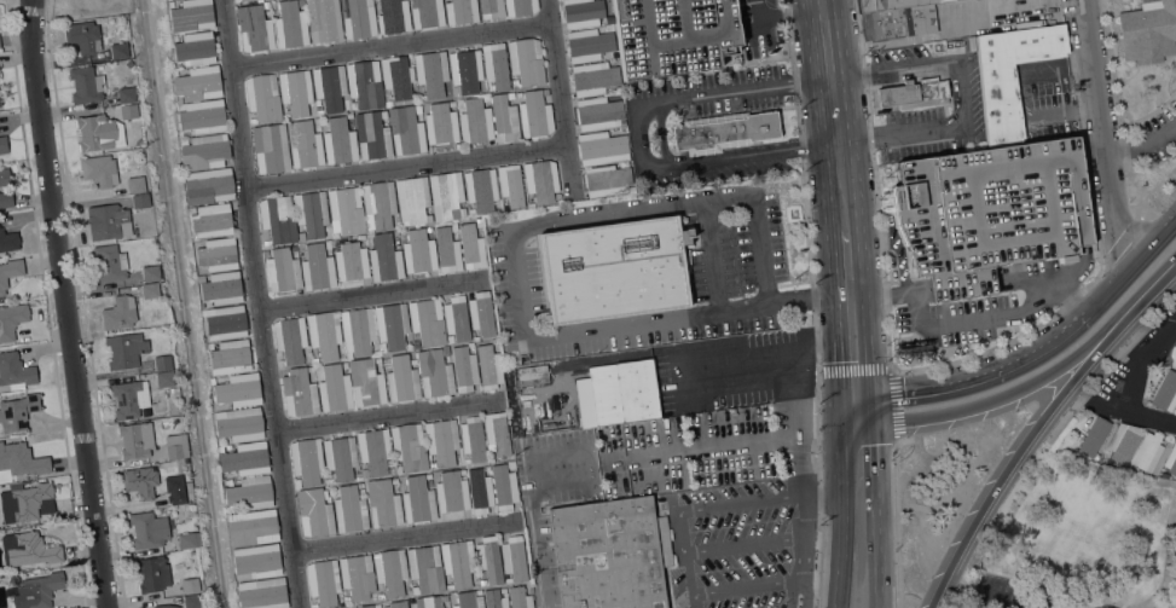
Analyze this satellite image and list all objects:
building: (234, 0)
building: (243, 0)
building: (890, 4)
building: (520, 6)
building: (491, 8)
building: (460, 11)
road: (781, 12)
building: (427, 13)
building: (583, 13)
building: (191, 15)
building: (393, 16)
building: (358, 17)
building: (324, 19)
building: (897, 22)
building: (290, 24)
building: (254, 29)
building: (1148, 29)
building: (672, 35)
parking lot: (672, 35)
building: (82, 37)
building: (587, 45)
road: (394, 46)
building: (195, 48)
building: (118, 50)
building: (526, 60)
building: (496, 64)
building: (465, 69)
building: (431, 73)
building: (1010, 75)
building: (396, 76)
building: (592, 77)
building: (341, 79)
building: (197, 83)
building: (364, 83)
building: (86, 85)
building: (326, 87)
building: (283, 88)
building: (299, 91)
building: (914, 93)
road: (961, 93)
building: (126, 94)
building: (262, 97)
building: (0, 100)
road: (564, 100)
building: (0, 104)
building: (128, 111)
building: (598, 112)
building: (534, 114)
road: (832, 114)
building: (202, 116)
building: (504, 118)
building: (475, 121)
building: (440, 123)
building: (405, 129)
building: (724, 131)
building: (98, 132)
building: (371, 134)
road: (638, 137)
road: (1102, 137)
building: (338, 140)
road: (1142, 143)
building: (2, 144)
building: (291, 144)
building: (306, 144)
building: (270, 147)
building: (601, 147)
building: (204, 151)
road: (407, 167)
building: (99, 169)
building: (4, 175)
building: (606, 179)
building: (540, 180)
building: (135, 184)
building: (208, 185)
building: (510, 185)
building: (481, 189)
building: (447, 193)
building: (5, 198)
building: (140, 199)
building: (412, 199)
building: (378, 204)
building: (344, 210)
building: (311, 212)
road: (630, 212)
building: (990, 212)
building: (210, 219)
building: (278, 219)
building: (109, 221)
building: (8, 241)
building: (216, 245)
building: (470, 247)
road: (1153, 247)
road: (760, 248)
building: (447, 249)
building: (418, 251)
road: (711, 255)
building: (384, 259)
building: (218, 260)
building: (351, 260)
road: (852, 261)
building: (108, 262)
road: (902, 262)
building: (317, 267)
building: (614, 268)
building: (282, 270)
building: (10, 272)
building: (150, 273)
building: (202, 277)
road: (517, 283)
road: (1154, 283)
building: (221, 288)
building: (149, 290)
road: (847, 293)
road: (373, 299)
road: (68, 303)
road: (256, 305)
building: (118, 313)
building: (481, 313)
road: (679, 314)
road: (834, 314)
building: (456, 318)
building: (11, 319)
road: (973, 319)
building: (427, 322)
building: (225, 323)
building: (392, 324)
road: (1073, 329)
building: (357, 331)
building: (323, 332)
building: (290, 338)
road: (1004, 341)
road: (865, 346)
building: (124, 349)
building: (230, 357)
building: (1172, 357)
road: (1145, 360)
building: (164, 361)
road: (764, 364)
traffic signals: (838, 365)
building: (488, 366)
building: (464, 367)
road: (888, 369)
road: (817, 370)
building: (15, 371)
building: (434, 372)
building: (531, 375)
building: (164, 378)
building: (401, 380)
building: (366, 382)
building: (334, 388)
building: (238, 389)
road: (939, 390)
building: (1165, 392)
building: (299, 393)
building: (616, 393)
road: (998, 395)
traffic signals: (899, 396)
building: (129, 398)
road: (855, 400)
building: (1175, 407)
building: (17, 411)
road: (870, 411)
road: (839, 412)
road: (392, 415)
road: (1146, 416)
building: (238, 423)
building: (497, 432)
building: (1093, 436)
building: (471, 438)
road: (1047, 439)
building: (135, 440)
building: (441, 441)
building: (1120, 441)
traffic signals: (873, 445)
building: (175, 446)
building: (409, 446)
road: (1019, 448)
road: (587, 450)
road: (714, 450)
building: (1147, 451)
building: (375, 452)
building: (340, 457)
building: (244, 458)
building: (21, 459)
building: (306, 459)
building: (1171, 461)
building: (510, 463)
building: (357, 475)
building: (140, 481)
building: (296, 482)
road: (804, 483)
building: (503, 486)
building: (176, 490)
building: (479, 490)
building: (249, 492)
building: (451, 492)
road: (822, 498)
building: (417, 500)
building: (25, 502)
road: (745, 502)
building: (382, 503)
building: (349, 509)
building: (314, 513)
road: (875, 514)
road: (840, 516)
road: (894, 522)
building: (251, 526)
building: (147, 529)
road: (411, 537)
building: (189, 539)
park: (1082, 540)
road: (533, 545)
road: (746, 546)
building: (29, 549)
building: (610, 554)
building: (514, 557)
building: (488, 558)
building: (256, 560)
road: (689, 560)
building: (458, 561)
building: (425, 568)
building: (390, 571)
building: (152, 573)
building: (357, 575)
building: (323, 581)
road: (957, 581)
building: (190, 585)
building: (37, 590)
road: (748, 590)
road: (992, 592)
building: (262, 593)
building: (444, 597)
building: (520, 597)
building: (494, 598)
building: (468, 600)
building: (195, 601)
building: (428, 602)
building: (398, 604)
building: (167, 606)
building: (363, 606)
road: (1105, 607)

